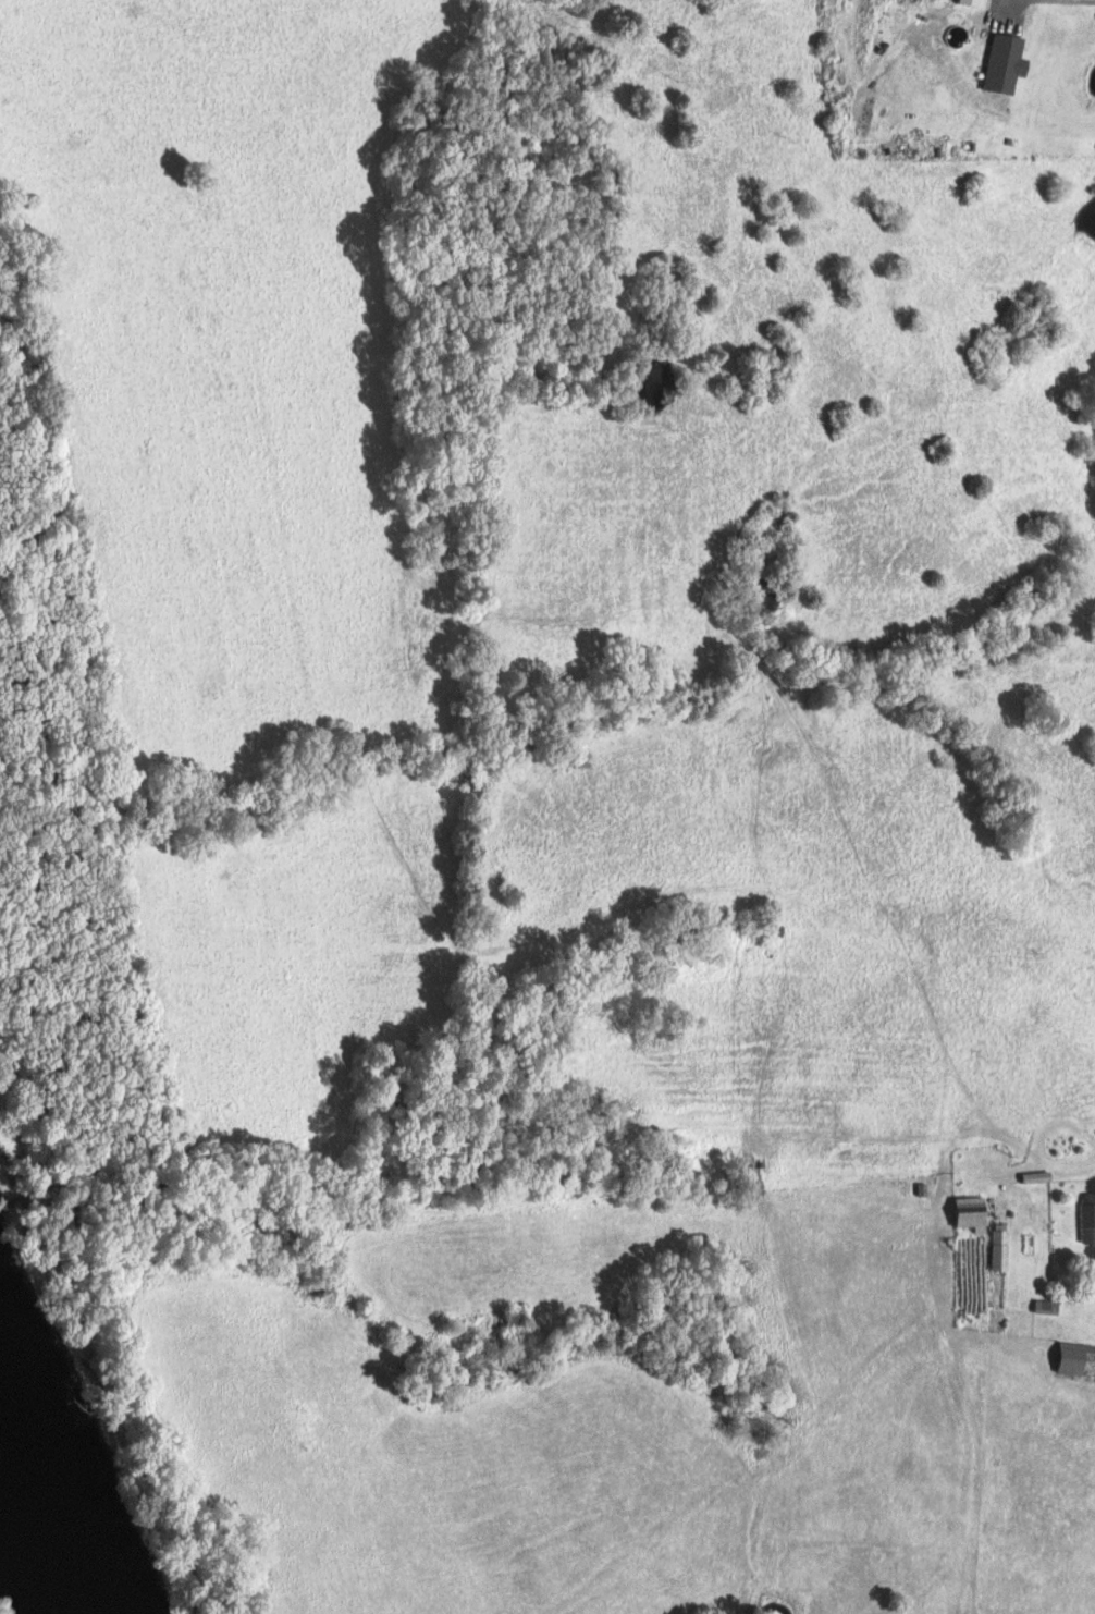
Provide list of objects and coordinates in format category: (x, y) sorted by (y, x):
building: (1006, 64)
road: (1036, 1144)
building: (971, 1213)
building: (1088, 1216)
building: (1000, 1247)
building: (1074, 1360)
river: (33, 1552)

